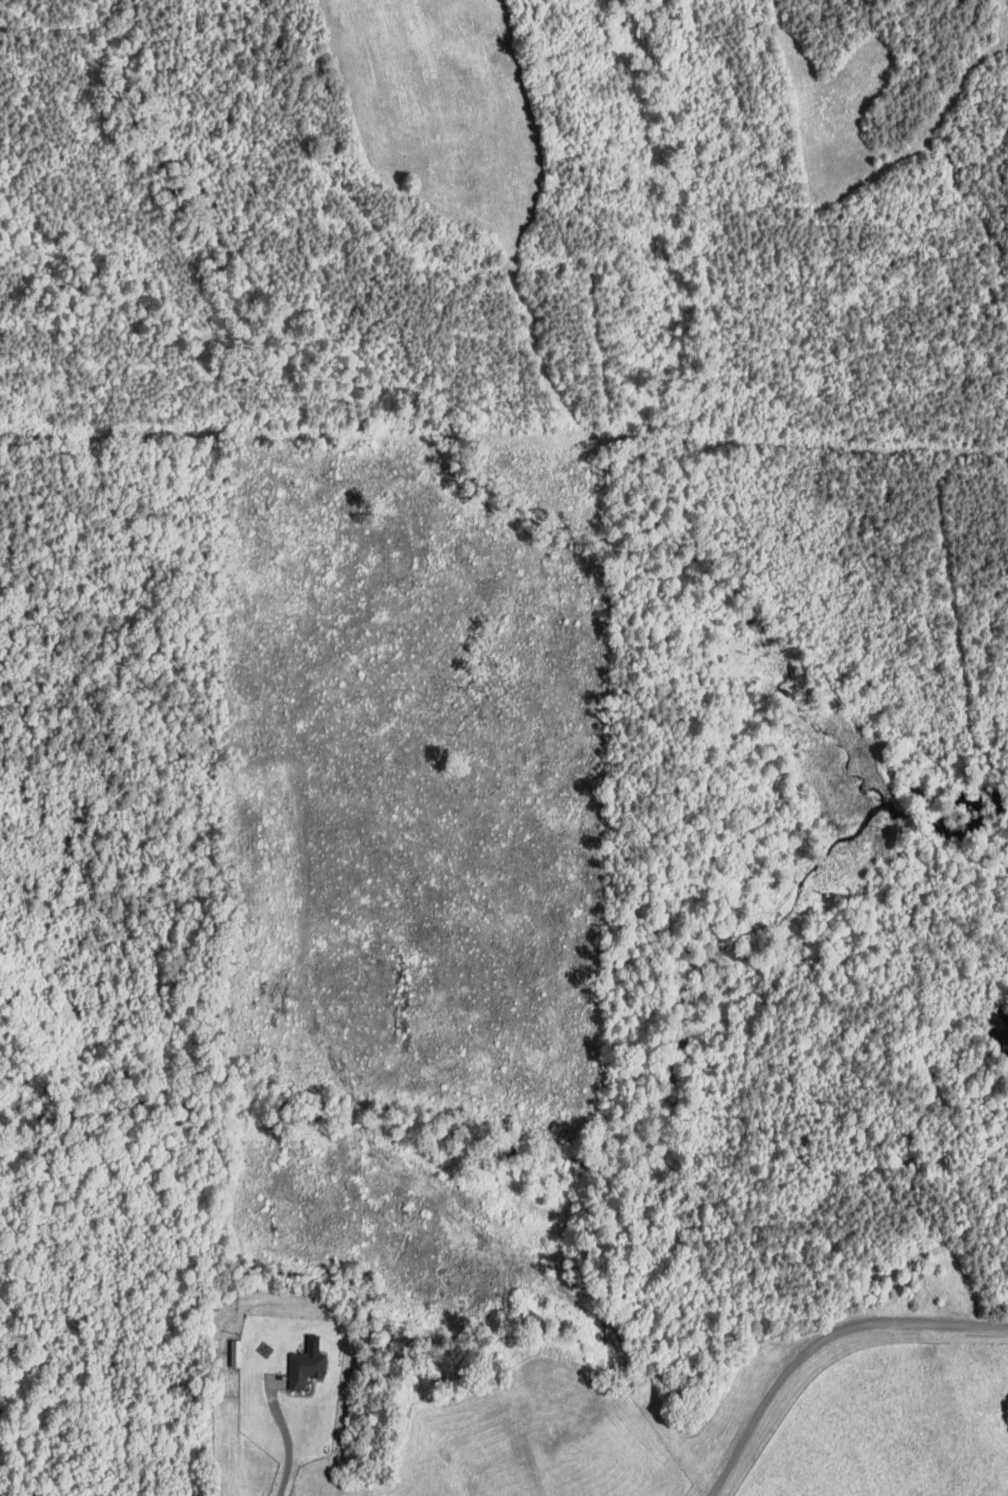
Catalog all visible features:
road: (819, 1340)
building: (311, 1363)
road: (287, 1438)

